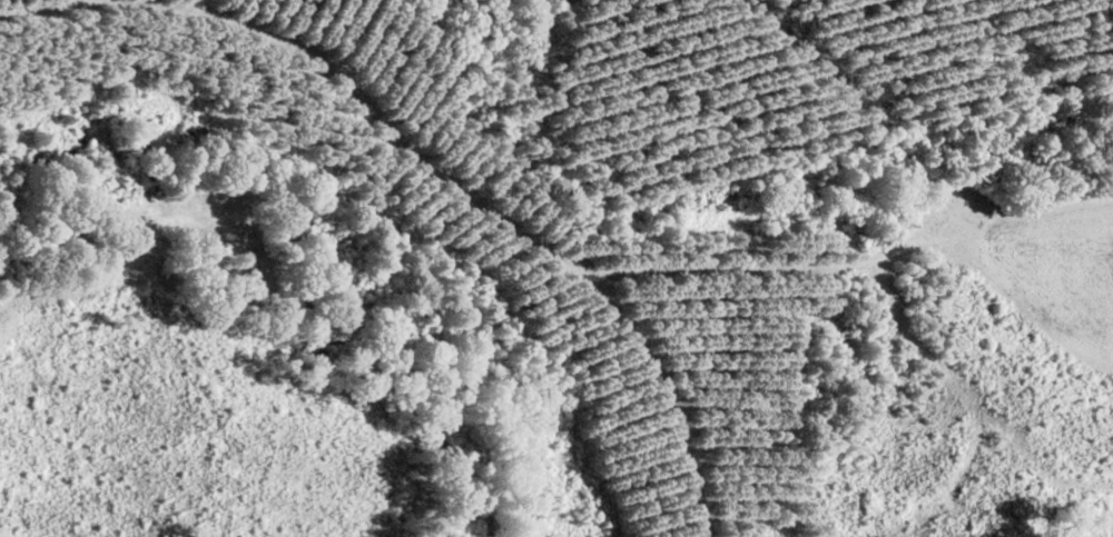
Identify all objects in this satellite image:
road: (637, 239)

